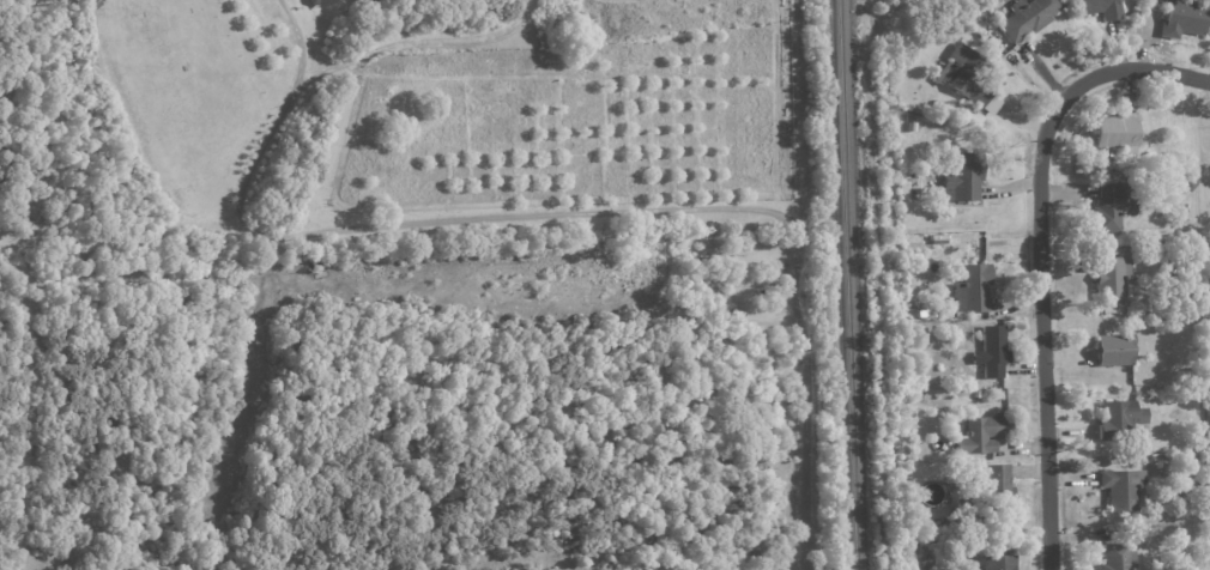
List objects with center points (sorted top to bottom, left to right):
building: (321, 2)
building: (377, 2)
building: (1102, 8)
building: (1029, 17)
building: (1185, 19)
road: (411, 37)
building: (991, 37)
road: (1130, 65)
building: (968, 78)
building: (914, 126)
building: (1118, 133)
building: (964, 177)
building: (1188, 182)
building: (1114, 206)
road: (477, 217)
building: (1112, 278)
railway: (848, 285)
building: (1208, 286)
building: (974, 289)
building: (1115, 308)
road: (1045, 334)
building: (916, 335)
building: (1115, 350)
building: (993, 352)
building: (1198, 374)
building: (1002, 395)
road: (29, 399)
building: (1121, 420)
building: (982, 435)
building: (1202, 442)
road: (806, 472)
building: (997, 490)
building: (1125, 490)
building: (998, 539)
building: (1120, 557)
building: (1000, 563)

